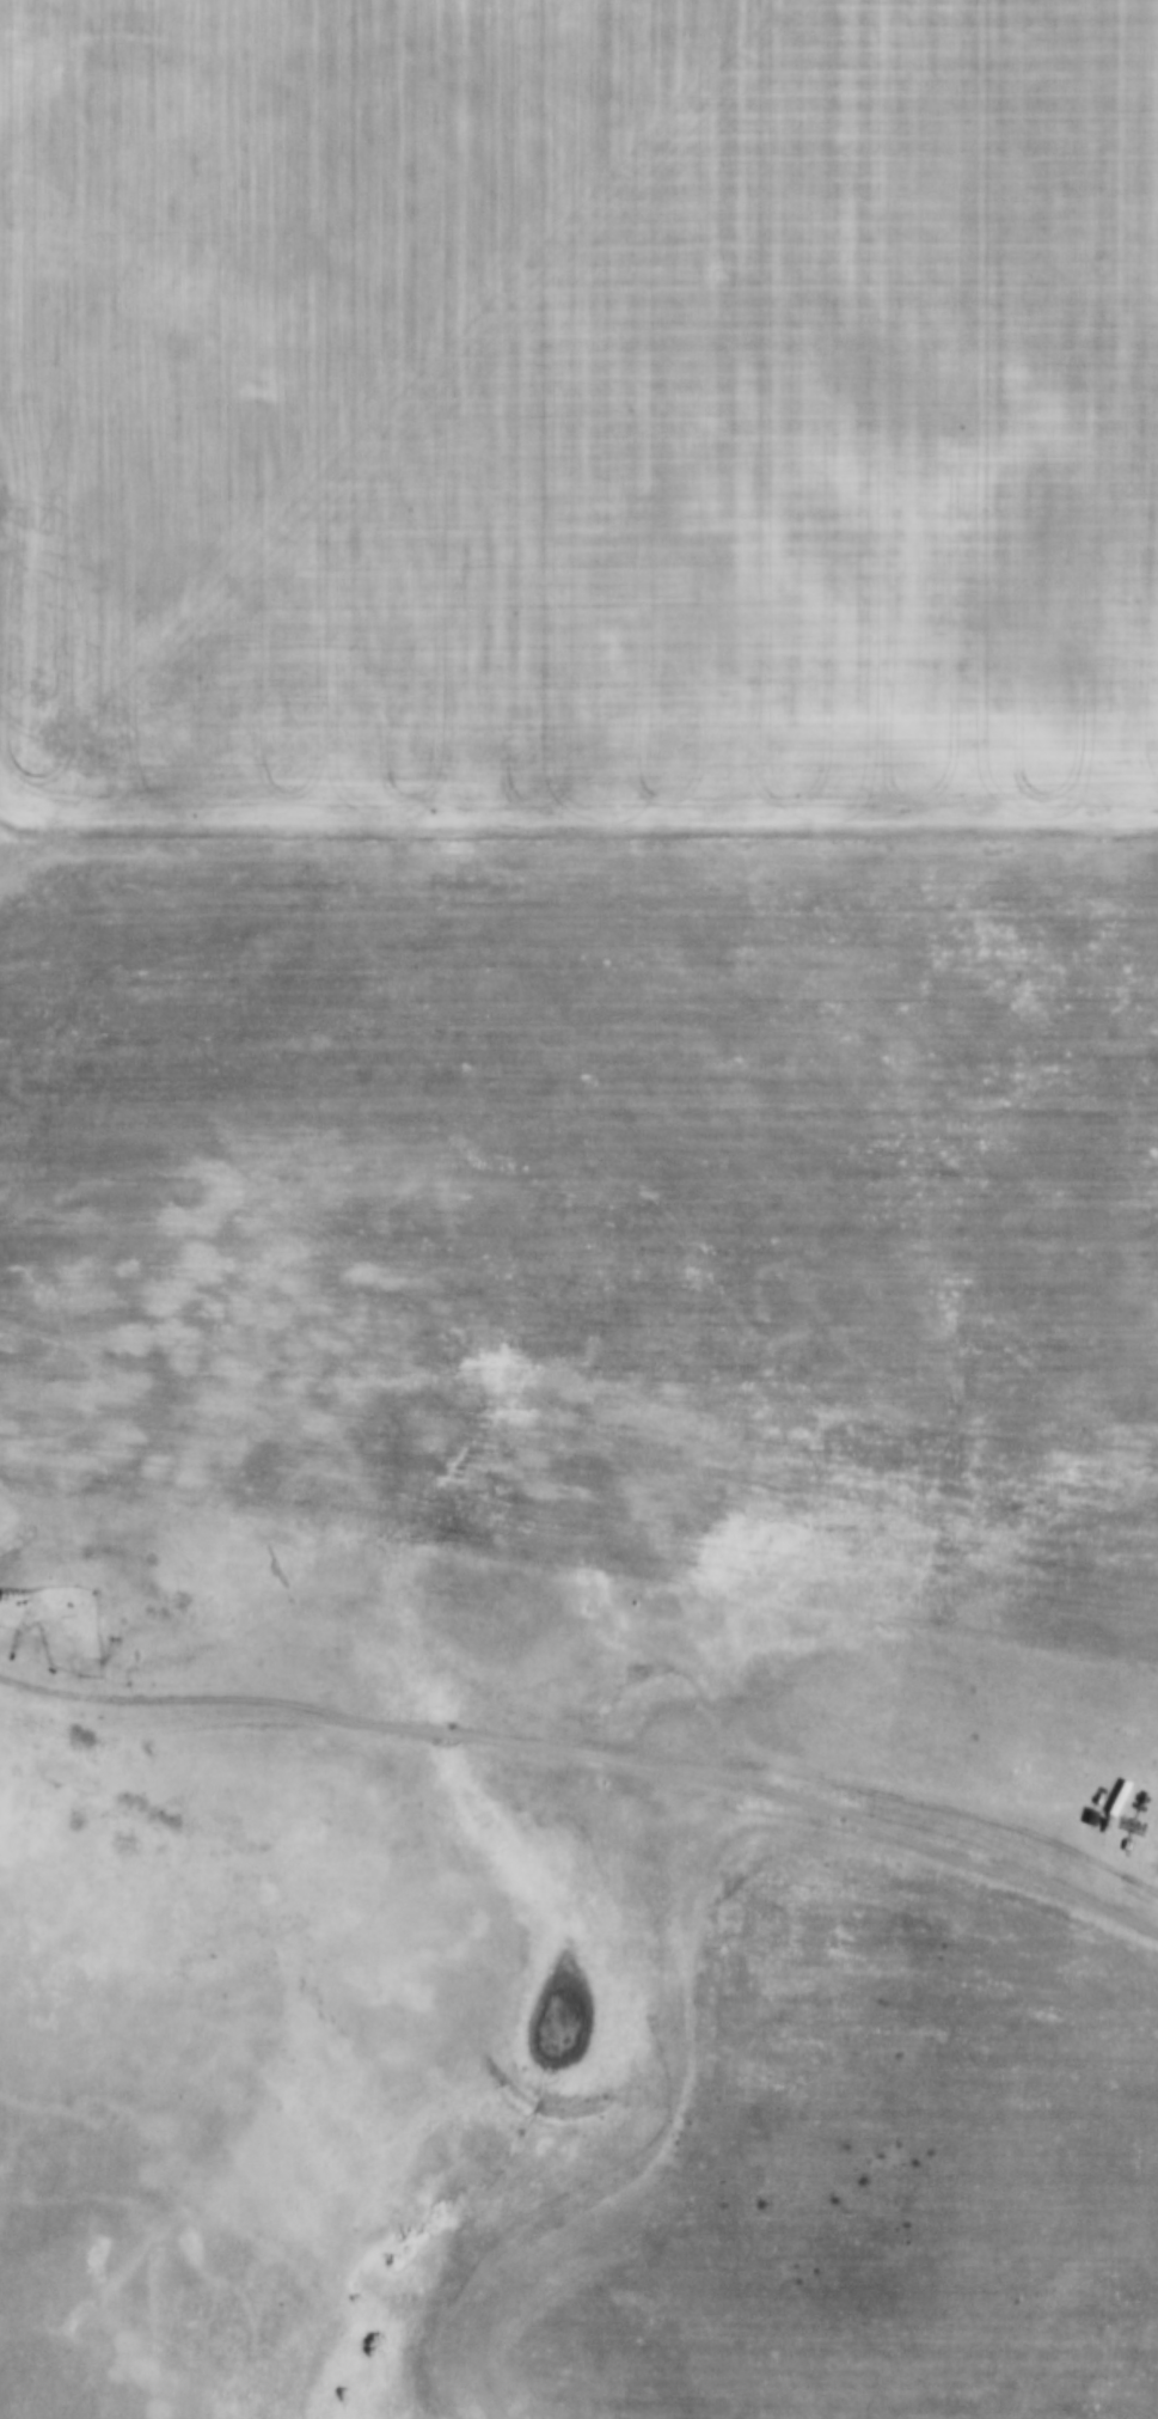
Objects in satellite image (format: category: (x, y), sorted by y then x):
road: (593, 1757)

